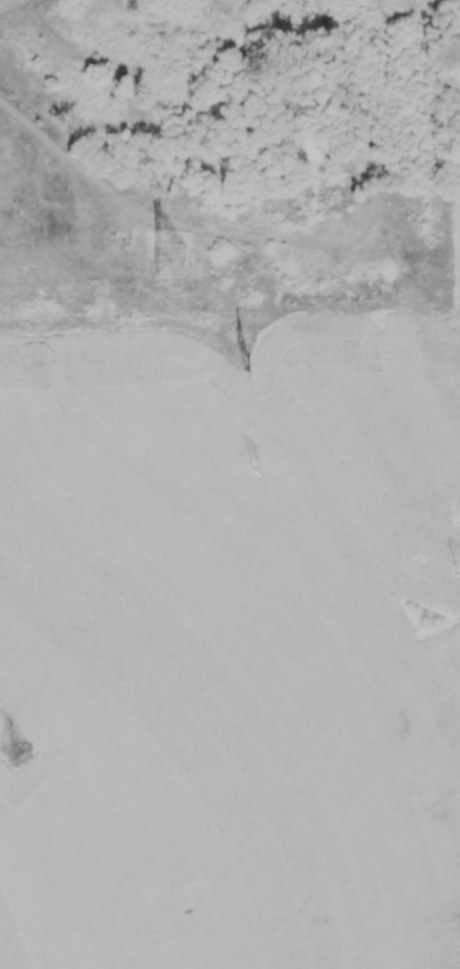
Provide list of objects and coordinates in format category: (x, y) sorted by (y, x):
power tower: (133, 3)
power tower: (167, 263)
power tower: (250, 361)
power tower: (261, 471)
power tower: (13, 753)

